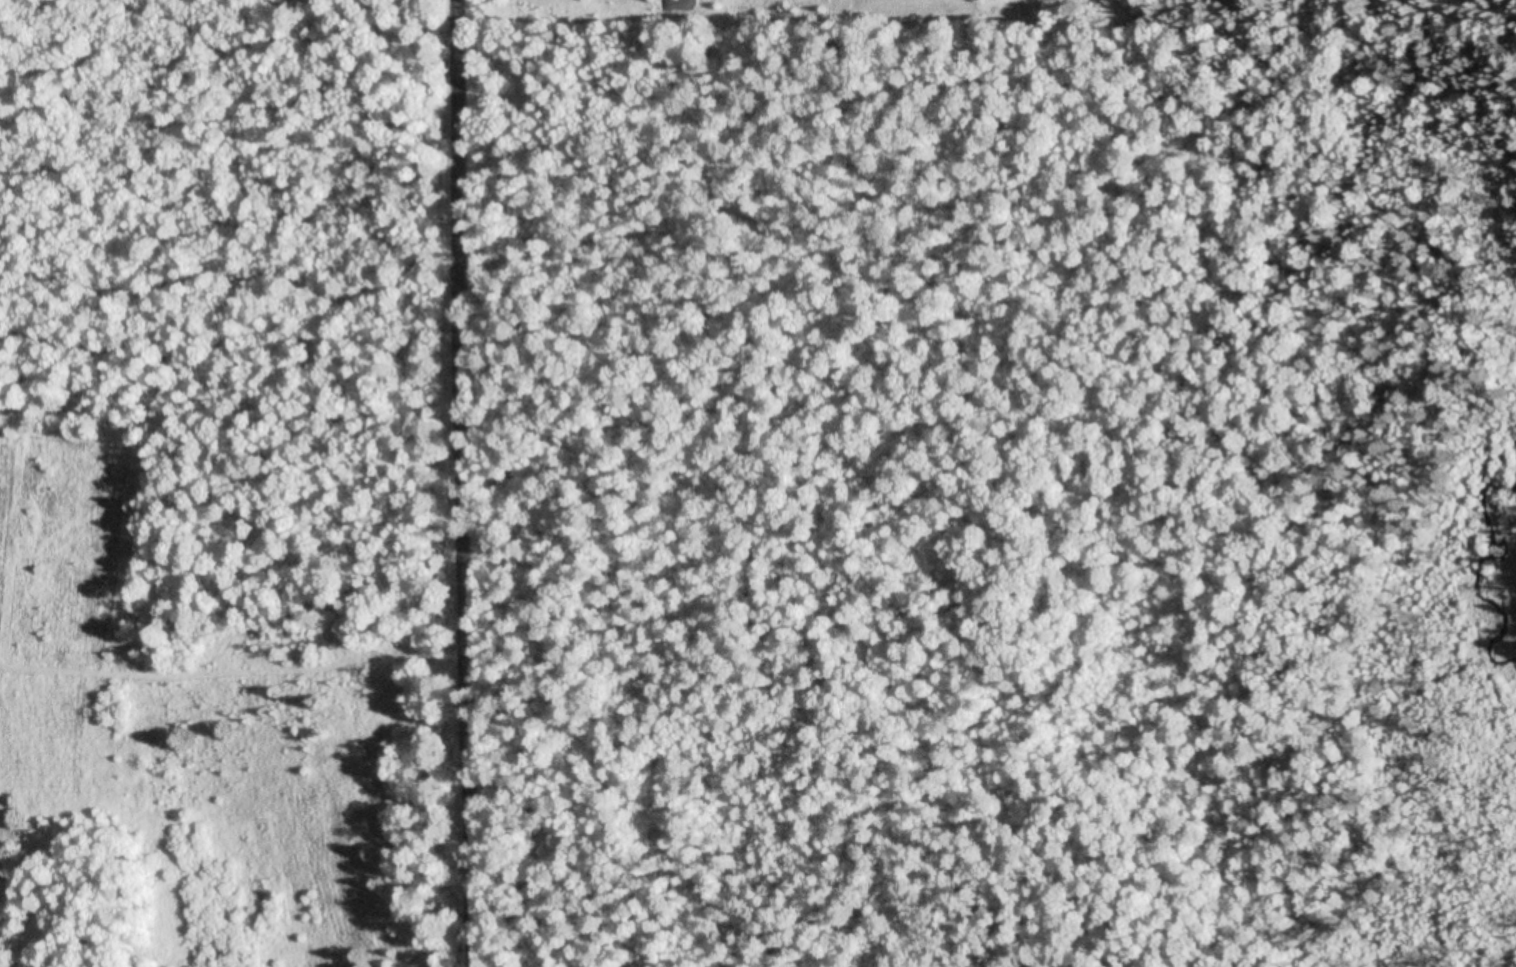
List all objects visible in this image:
road: (470, 483)

